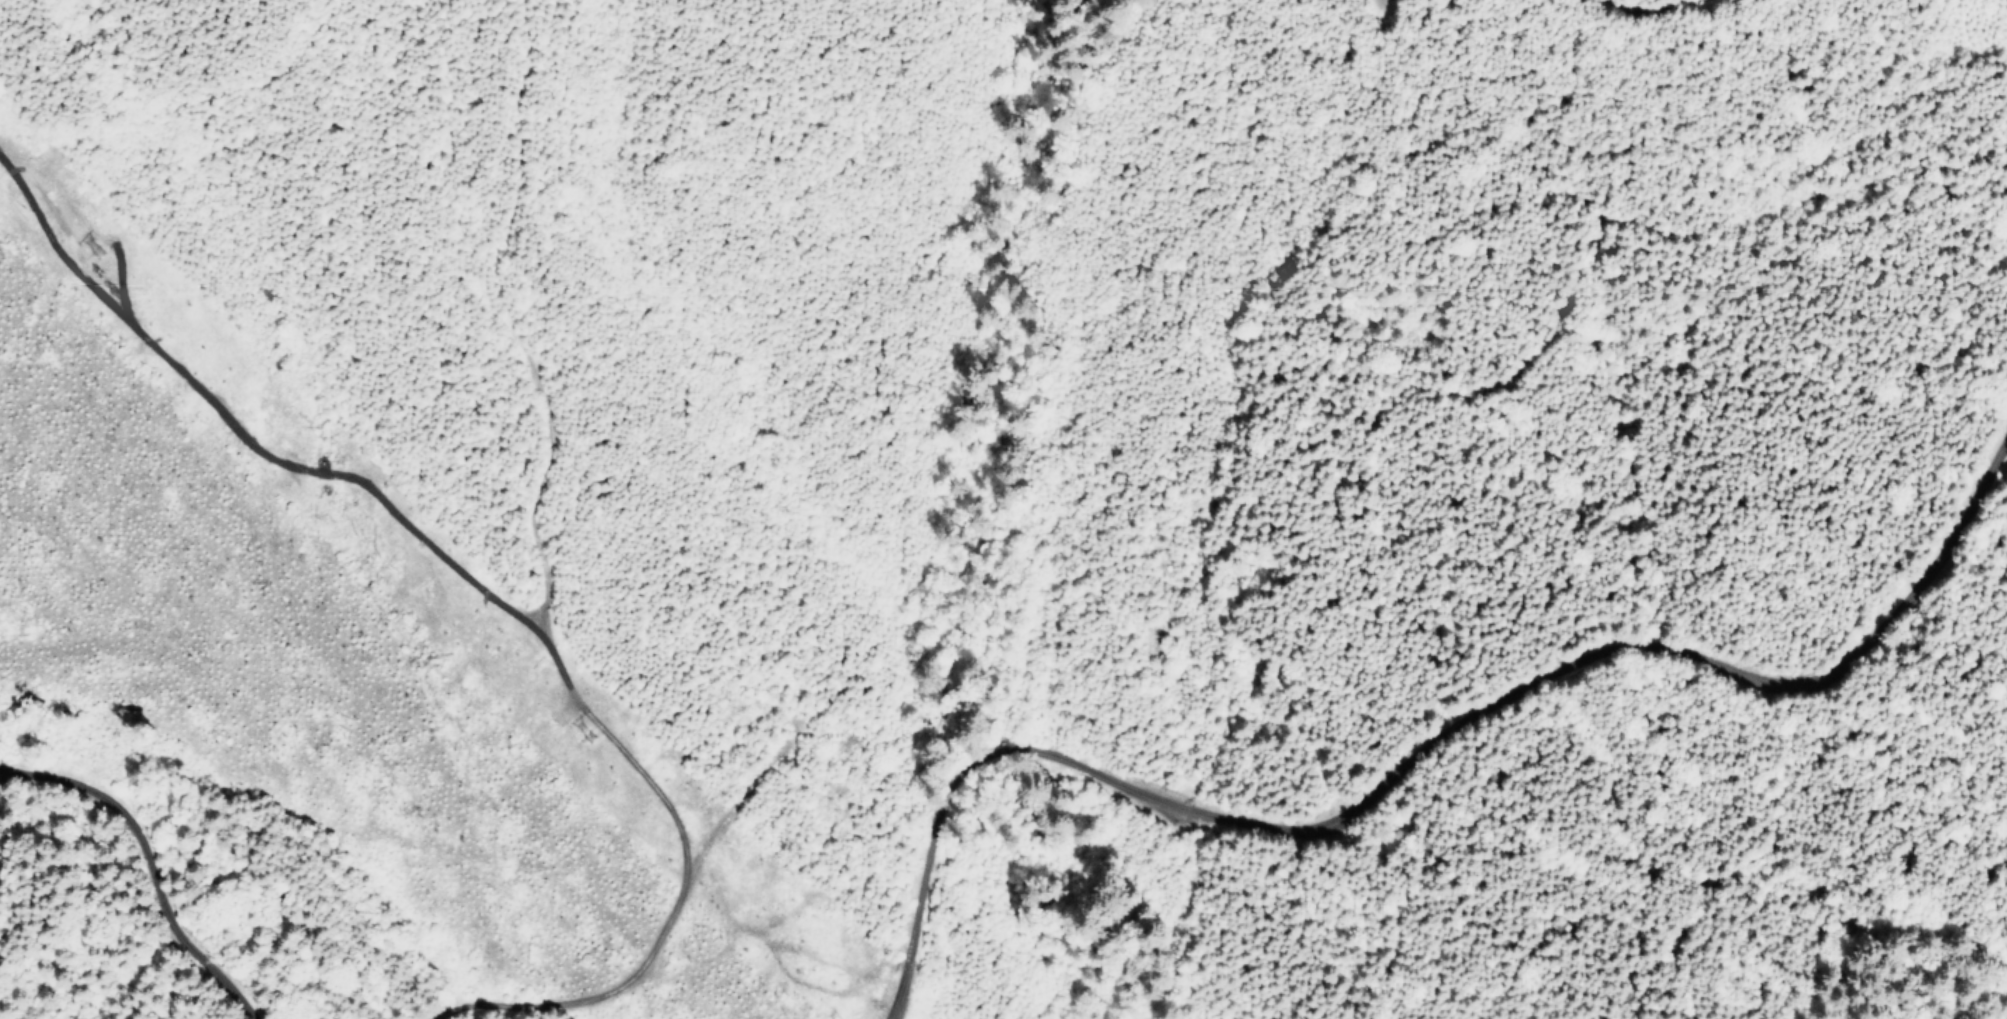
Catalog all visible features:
road: (1564, 187)
power tower: (87, 244)
power tower: (581, 732)
road: (1415, 769)
road: (152, 862)
road: (803, 898)

